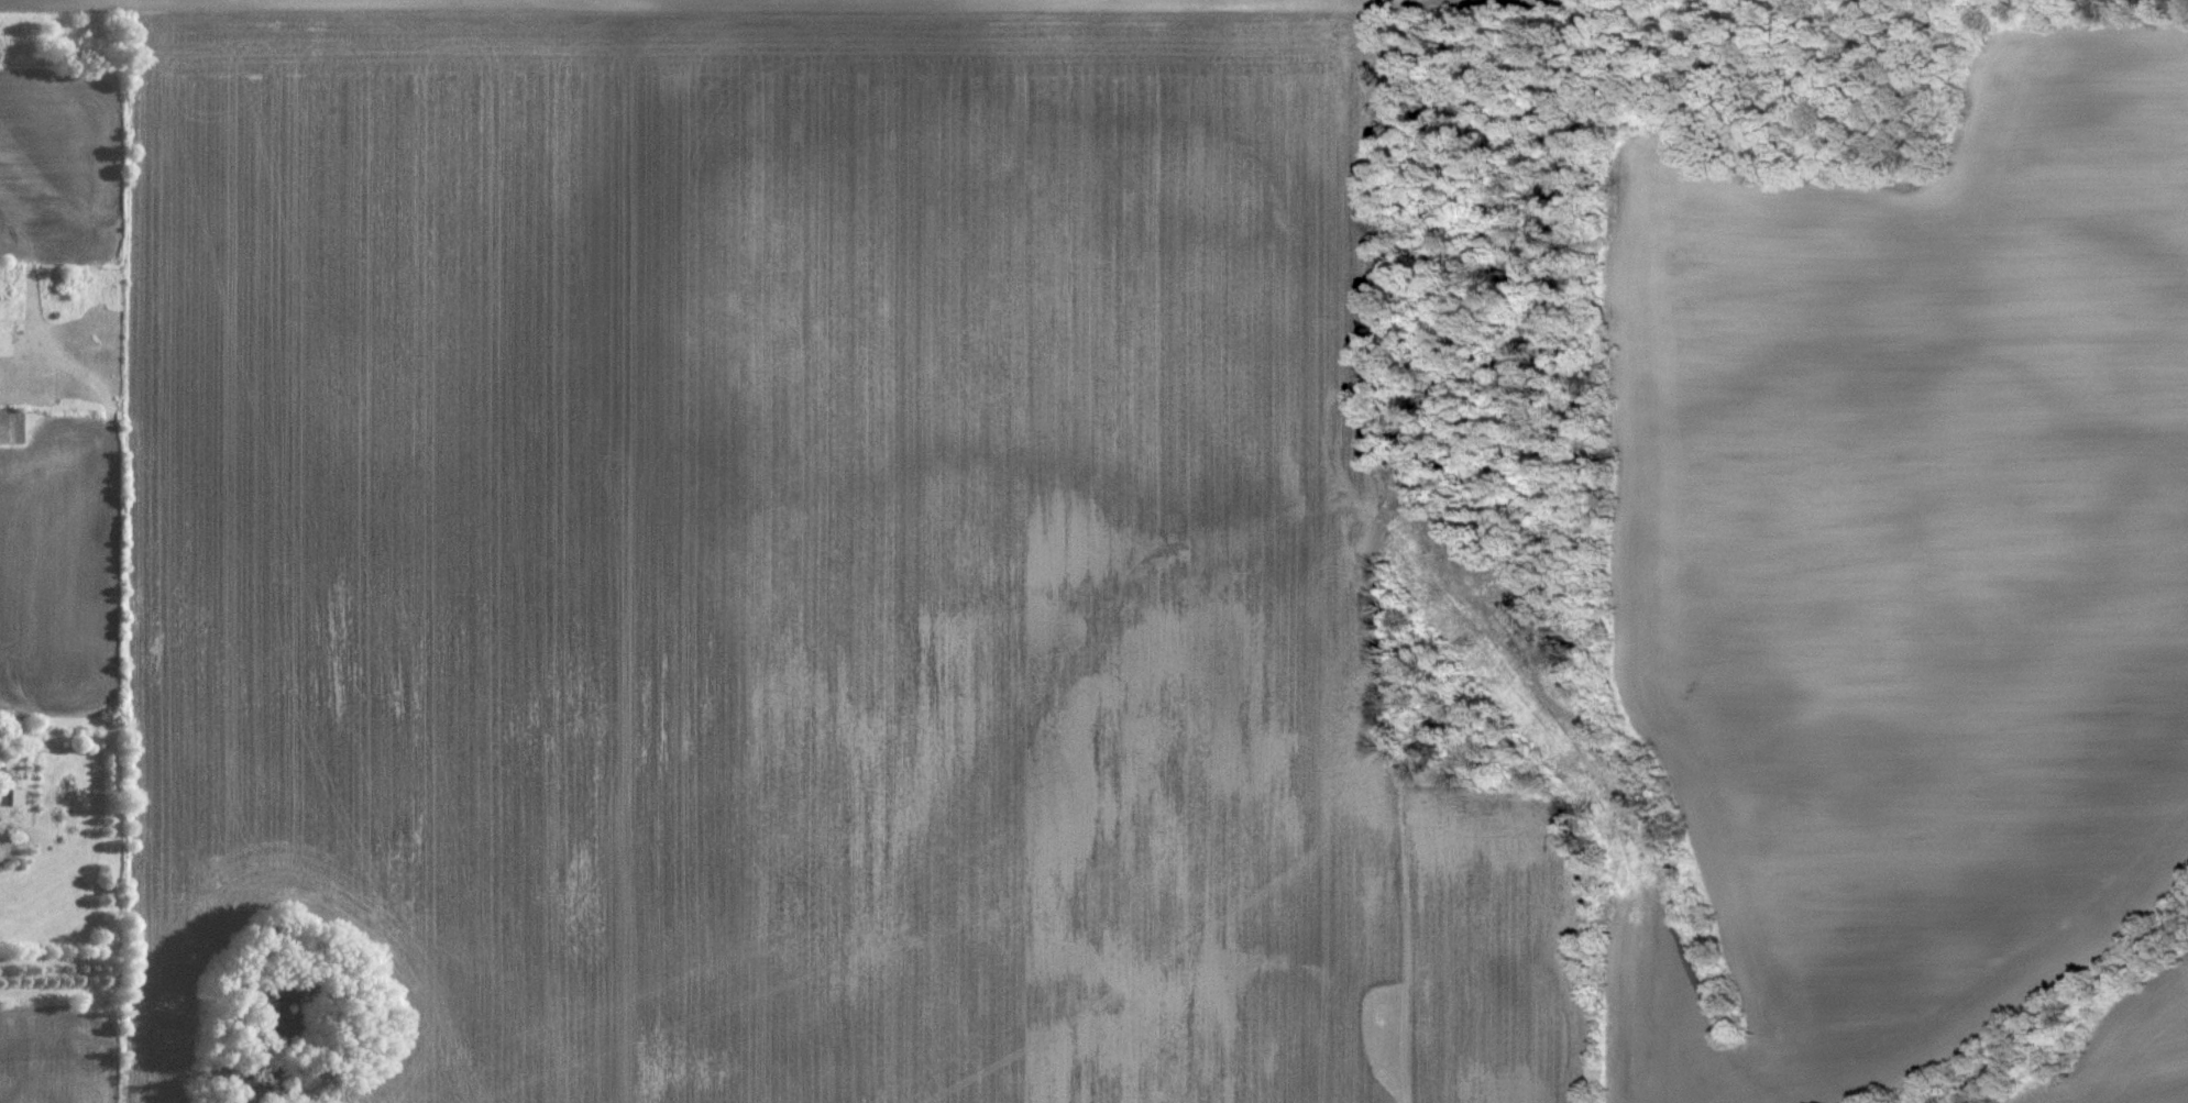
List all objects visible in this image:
building: (15, 796)

